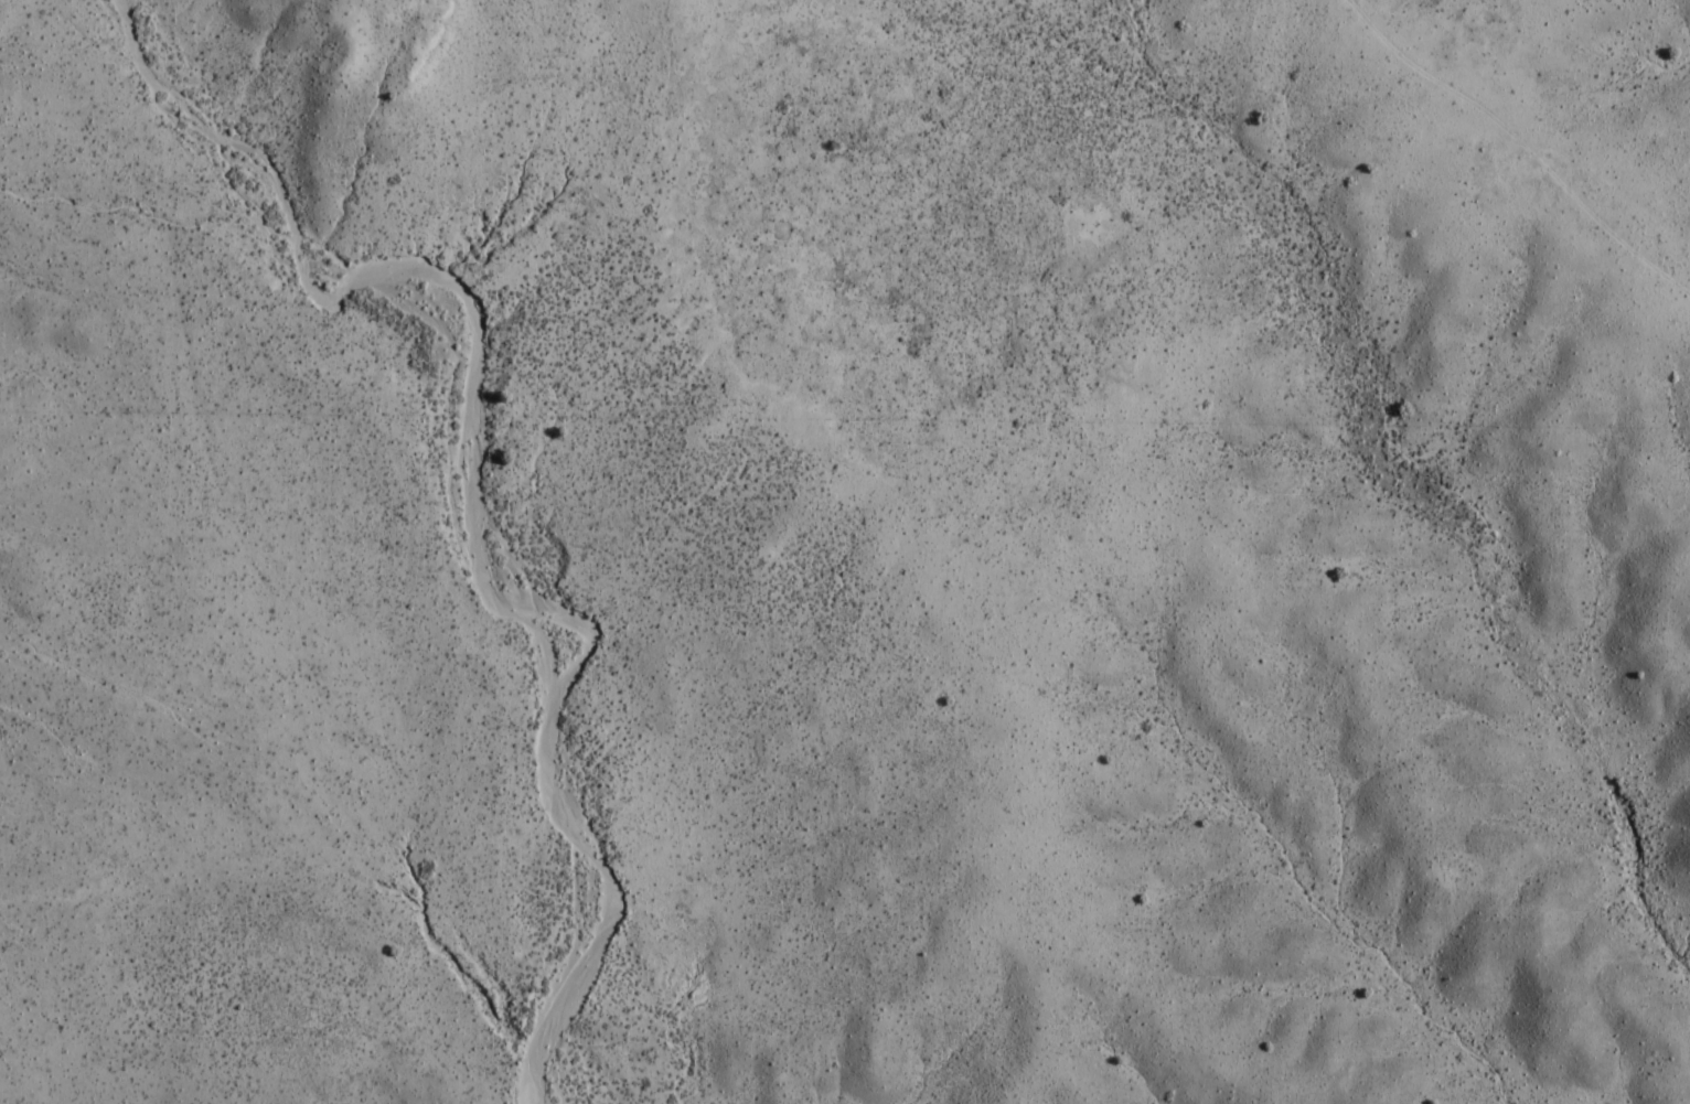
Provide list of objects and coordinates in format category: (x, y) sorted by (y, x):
road: (1519, 144)

